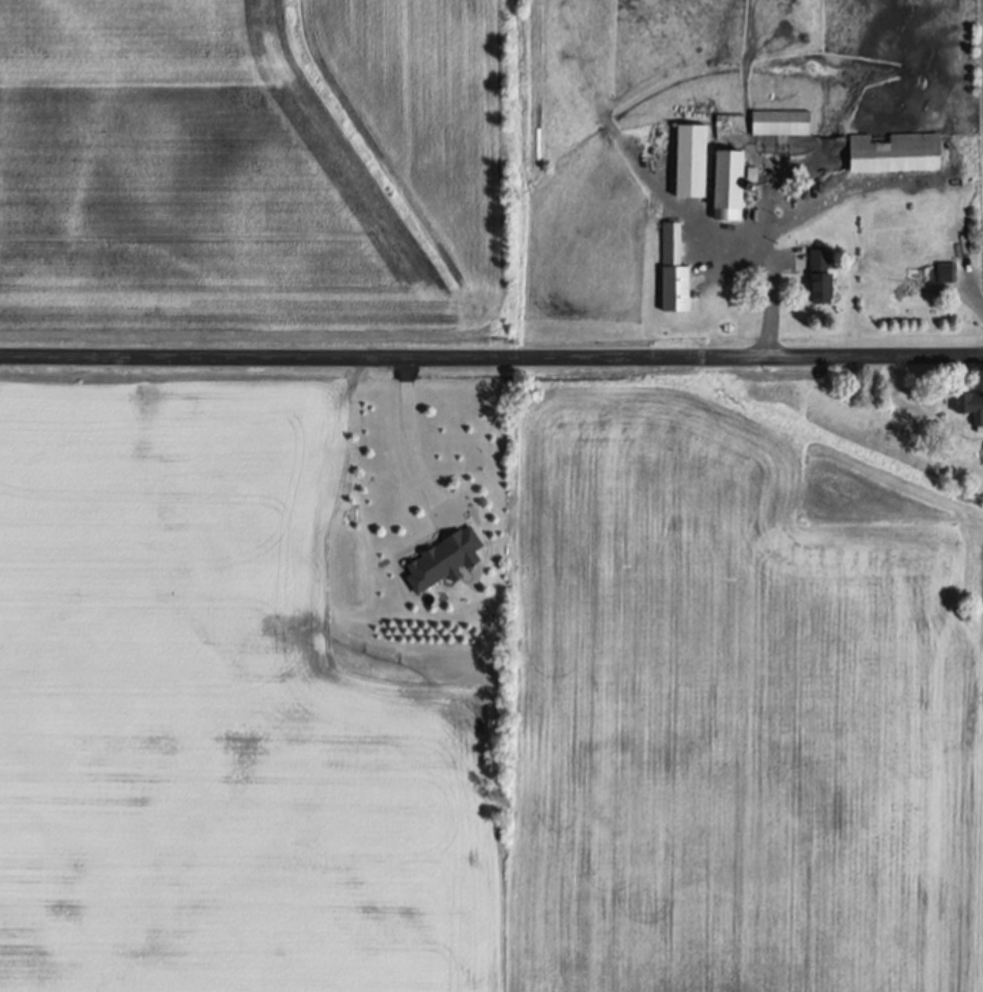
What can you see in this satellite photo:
building: (781, 121)
building: (895, 152)
building: (692, 159)
building: (729, 183)
building: (751, 186)
building: (769, 190)
road: (766, 240)
building: (950, 251)
building: (674, 270)
building: (945, 272)
building: (821, 276)
road: (491, 352)
building: (971, 406)
road: (413, 438)
building: (445, 559)
road: (979, 592)
road: (979, 633)

